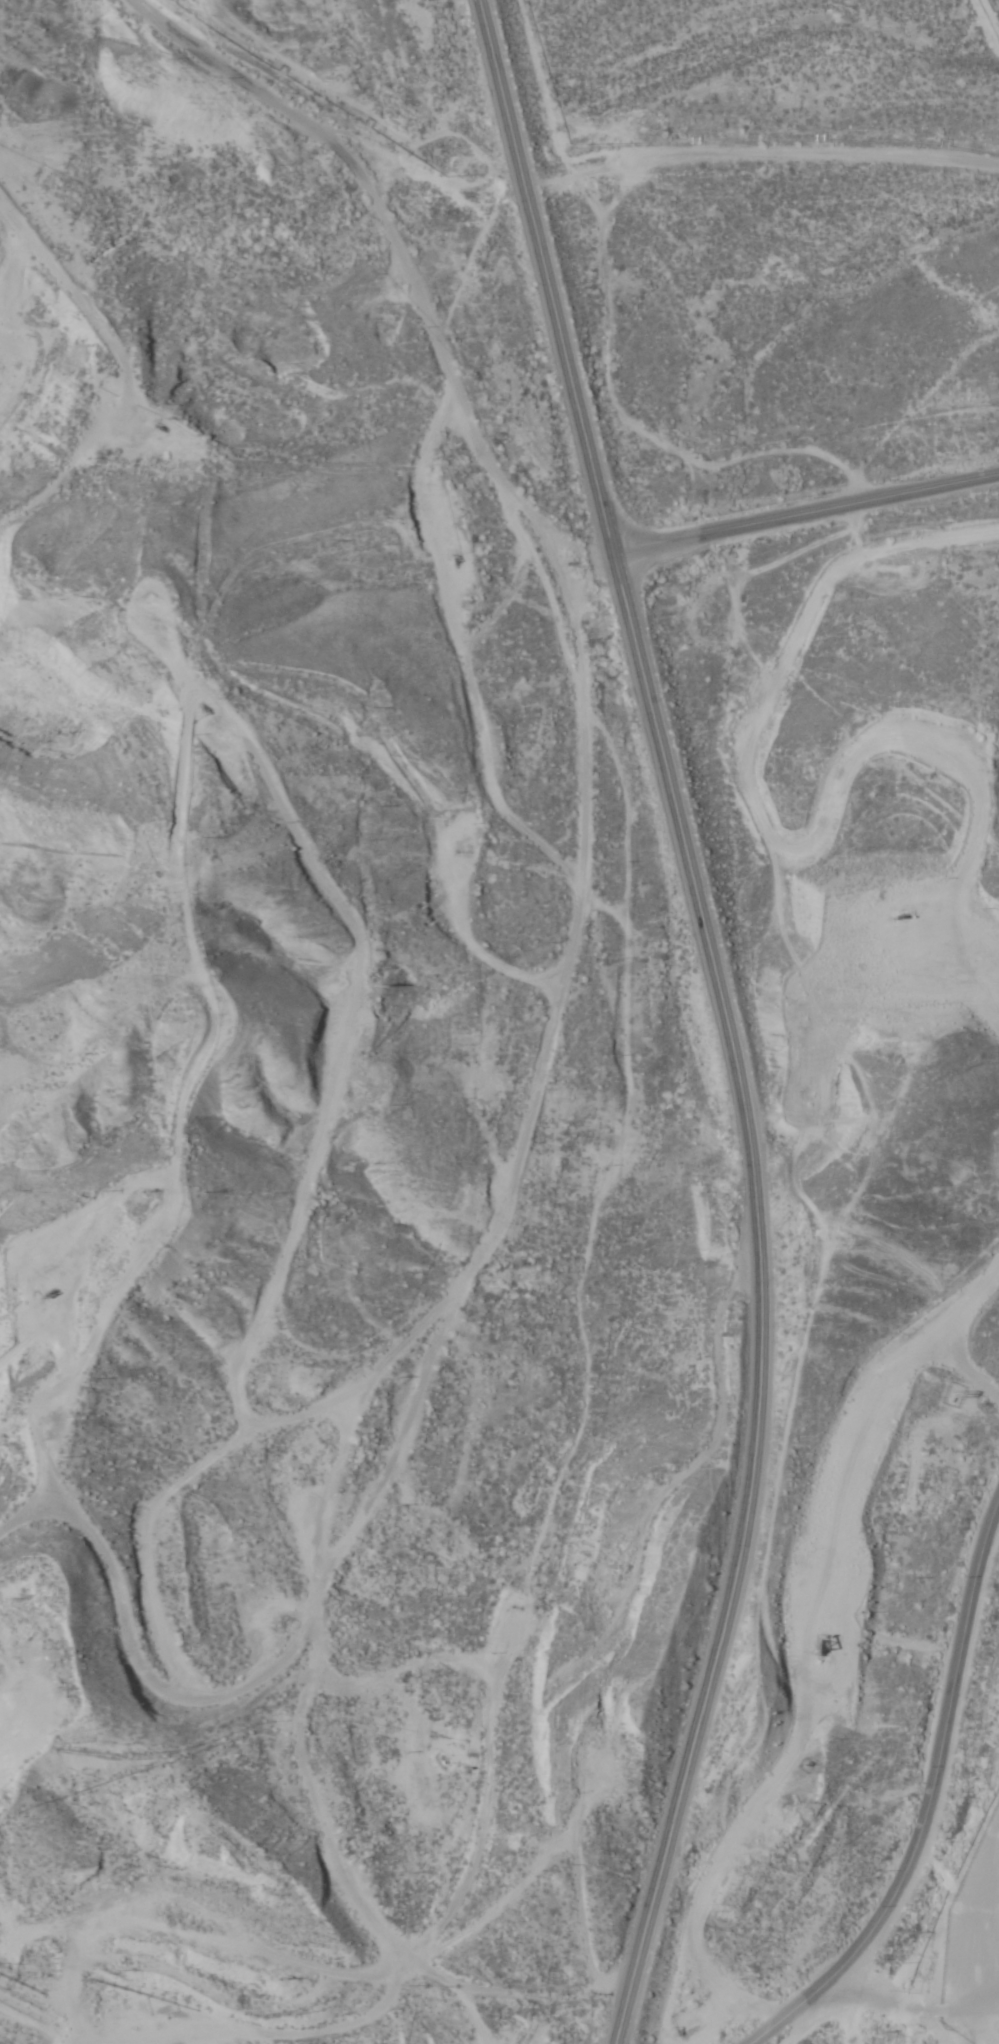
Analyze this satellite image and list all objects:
road: (806, 513)
road: (728, 1017)
road: (929, 1808)

